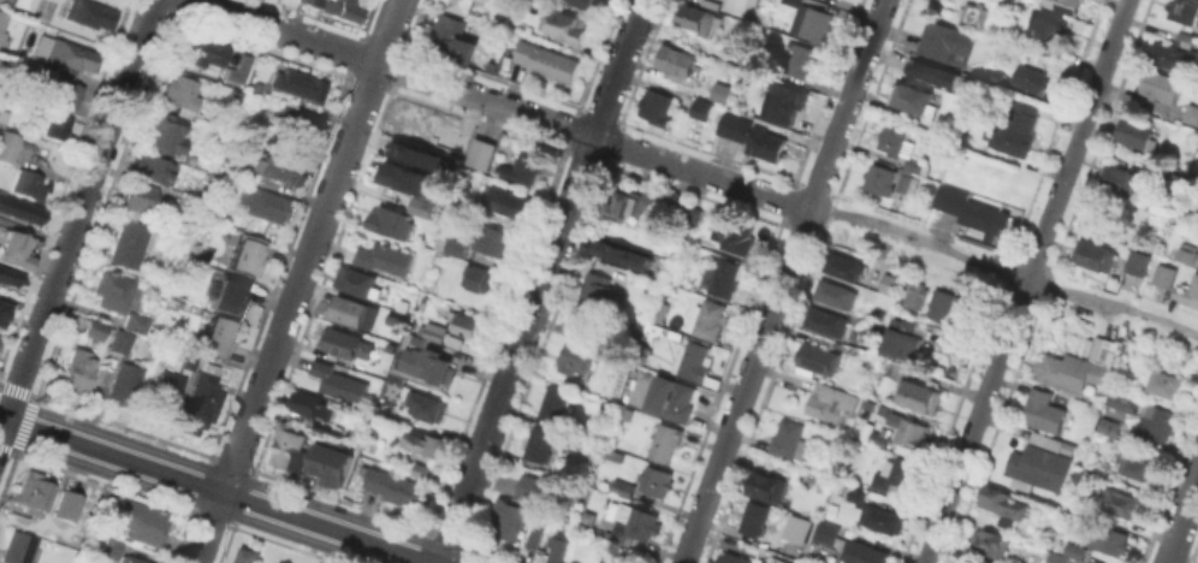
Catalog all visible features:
building: (308, 1)
building: (583, 2)
building: (25, 5)
building: (461, 5)
building: (1066, 5)
building: (739, 7)
building: (47, 10)
building: (343, 10)
building: (1182, 10)
road: (224, 12)
building: (90, 13)
building: (972, 13)
building: (699, 18)
building: (811, 19)
building: (1048, 22)
building: (568, 24)
building: (4, 28)
building: (1007, 29)
building: (451, 32)
building: (1185, 37)
building: (947, 42)
road: (319, 43)
building: (202, 51)
building: (465, 54)
building: (70, 57)
building: (1173, 57)
building: (800, 58)
building: (678, 59)
building: (547, 60)
building: (239, 67)
building: (939, 77)
building: (996, 77)
building: (1031, 77)
building: (295, 84)
building: (1160, 84)
building: (185, 90)
building: (722, 90)
building: (69, 93)
building: (235, 95)
building: (914, 97)
building: (785, 106)
building: (702, 107)
building: (658, 108)
building: (1191, 114)
building: (59, 125)
building: (735, 125)
building: (295, 129)
building: (1013, 130)
building: (171, 131)
building: (1137, 134)
building: (446, 136)
road: (593, 137)
building: (896, 137)
building: (766, 142)
building: (7, 146)
building: (476, 153)
building: (414, 154)
building: (1197, 161)
building: (526, 164)
building: (917, 165)
building: (154, 168)
building: (277, 168)
building: (404, 176)
building: (1176, 176)
building: (882, 178)
building: (1122, 178)
building: (905, 182)
building: (29, 184)
building: (141, 196)
building: (462, 200)
building: (651, 200)
building: (508, 201)
building: (629, 202)
building: (267, 203)
building: (417, 206)
building: (677, 206)
building: (972, 208)
building: (18, 212)
building: (693, 215)
road: (79, 221)
building: (391, 221)
building: (734, 233)
building: (494, 239)
building: (131, 243)
building: (456, 245)
building: (1172, 250)
building: (16, 251)
building: (1187, 251)
building: (1092, 253)
building: (625, 254)
building: (385, 256)
building: (250, 257)
building: (1135, 260)
building: (844, 265)
road: (1004, 269)
building: (6, 277)
building: (476, 277)
building: (722, 277)
building: (1166, 279)
building: (358, 280)
road: (540, 280)
road: (298, 281)
road: (783, 281)
road: (1025, 281)
building: (886, 283)
building: (113, 290)
building: (598, 291)
building: (835, 291)
building: (1191, 291)
building: (913, 294)
building: (231, 298)
building: (936, 303)
building: (1, 309)
building: (957, 313)
building: (350, 314)
building: (707, 316)
building: (1, 318)
building: (825, 320)
building: (137, 321)
building: (469, 324)
building: (96, 328)
building: (429, 330)
building: (908, 337)
building: (121, 340)
building: (221, 340)
building: (453, 342)
building: (348, 344)
building: (1113, 351)
building: (580, 357)
building: (819, 357)
building: (693, 358)
building: (191, 360)
building: (886, 366)
building: (426, 368)
building: (78, 371)
building: (1072, 375)
building: (338, 380)
building: (126, 381)
building: (1163, 383)
building: (167, 392)
building: (919, 395)
building: (201, 398)
building: (668, 398)
building: (307, 402)
building: (554, 402)
building: (830, 402)
building: (1120, 402)
building: (425, 404)
building: (396, 410)
building: (1043, 410)
building: (624, 413)
building: (1157, 423)
building: (1110, 425)
building: (912, 432)
building: (878, 437)
building: (787, 438)
building: (423, 441)
building: (666, 441)
building: (539, 443)
building: (1052, 443)
building: (287, 444)
building: (595, 450)
building: (333, 463)
building: (1133, 466)
building: (421, 468)
building: (1042, 470)
building: (895, 472)
building: (599, 475)
building: (657, 479)
building: (765, 485)
building: (396, 486)
building: (530, 487)
building: (622, 487)
building: (34, 488)
road: (215, 490)
building: (856, 494)
building: (1003, 502)
building: (1120, 502)
building: (64, 505)
building: (755, 517)
road: (1181, 517)
building: (508, 518)
building: (882, 518)
building: (140, 523)
building: (636, 525)
building: (535, 537)
building: (1108, 538)
building: (990, 541)
building: (794, 543)
building: (849, 545)
building: (20, 547)
building: (111, 547)
building: (558, 547)
building: (1075, 550)
building: (249, 555)
building: (618, 555)
building: (734, 557)
building: (1056, 557)
building: (131, 559)
building: (988, 559)
building: (777, 561)

